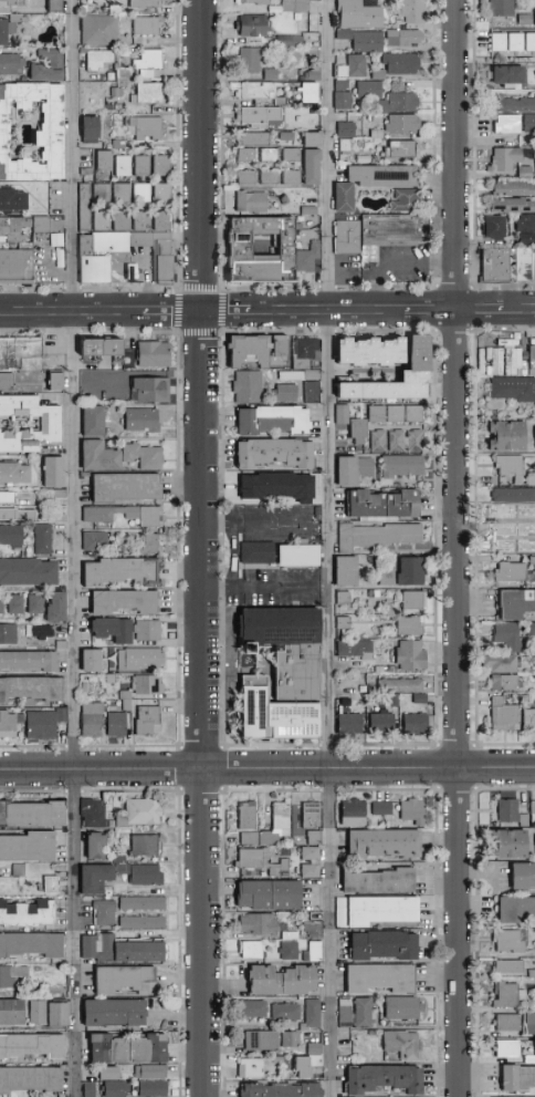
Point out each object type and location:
building: (253, 1)
building: (13, 3)
building: (147, 3)
building: (293, 6)
building: (57, 7)
building: (499, 7)
building: (117, 10)
building: (410, 10)
building: (534, 12)
building: (356, 13)
building: (20, 19)
building: (248, 24)
building: (149, 27)
building: (102, 31)
building: (7, 32)
building: (400, 37)
building: (287, 40)
building: (365, 40)
building: (511, 40)
building: (125, 53)
building: (246, 59)
building: (150, 60)
building: (99, 61)
building: (399, 61)
building: (349, 64)
building: (12, 65)
building: (39, 68)
building: (504, 73)
building: (126, 74)
building: (150, 74)
building: (339, 84)
building: (252, 89)
building: (304, 91)
building: (118, 93)
building: (400, 94)
building: (149, 95)
building: (340, 99)
building: (513, 103)
building: (254, 114)
building: (400, 122)
building: (528, 122)
building: (505, 123)
building: (149, 128)
building: (343, 128)
building: (93, 132)
building: (252, 137)
building: (307, 137)
building: (51, 139)
building: (120, 145)
building: (399, 147)
building: (287, 153)
building: (243, 154)
building: (265, 154)
building: (504, 157)
building: (106, 163)
building: (307, 165)
building: (125, 167)
building: (144, 167)
building: (164, 167)
building: (523, 169)
building: (88, 173)
building: (379, 174)
building: (287, 175)
building: (243, 176)
building: (265, 176)
building: (510, 187)
building: (144, 194)
building: (104, 195)
building: (124, 195)
building: (165, 195)
building: (339, 195)
building: (402, 198)
building: (248, 200)
building: (13, 203)
building: (507, 204)
building: (87, 208)
building: (165, 221)
building: (124, 222)
building: (144, 222)
building: (104, 224)
building: (59, 225)
building: (43, 226)
building: (490, 226)
building: (525, 227)
building: (14, 229)
building: (394, 231)
building: (44, 239)
building: (347, 239)
building: (59, 241)
building: (2, 248)
building: (306, 257)
building: (62, 258)
building: (126, 259)
building: (263, 260)
road: (392, 265)
building: (18, 267)
parking lot: (395, 267)
building: (526, 269)
building: (497, 270)
parking lot: (347, 272)
road: (327, 311)
road: (430, 311)
road: (480, 311)
road: (520, 311)
road: (174, 312)
road: (227, 312)
road: (72, 313)
building: (505, 342)
building: (103, 348)
building: (371, 351)
building: (258, 352)
building: (531, 352)
building: (306, 353)
building: (21, 354)
building: (155, 354)
building: (479, 360)
building: (493, 360)
building: (511, 360)
building: (532, 361)
building: (420, 364)
building: (304, 375)
building: (51, 380)
building: (7, 382)
building: (57, 382)
road: (77, 385)
road: (326, 385)
building: (249, 387)
building: (151, 391)
building: (514, 391)
building: (313, 393)
building: (286, 394)
building: (378, 414)
building: (397, 414)
building: (416, 414)
building: (344, 415)
building: (144, 421)
building: (274, 421)
building: (95, 422)
building: (50, 425)
building: (360, 431)
building: (508, 436)
building: (534, 438)
building: (380, 442)
building: (407, 442)
building: (275, 453)
building: (145, 456)
building: (101, 457)
building: (403, 466)
building: (511, 469)
building: (355, 472)
building: (54, 473)
building: (14, 474)
building: (532, 482)
building: (127, 487)
building: (279, 487)
building: (61, 494)
building: (514, 496)
building: (8, 498)
building: (386, 505)
building: (527, 511)
building: (507, 513)
building: (18, 515)
building: (127, 515)
building: (61, 519)
road: (260, 521)
building: (526, 526)
building: (378, 536)
building: (13, 537)
building: (45, 539)
building: (96, 541)
building: (122, 541)
building: (511, 542)
building: (150, 546)
building: (534, 546)
road: (203, 548)
road: (457, 548)
building: (259, 553)
building: (300, 555)
building: (391, 561)
building: (533, 561)
building: (123, 572)
building: (347, 572)
building: (28, 573)
building: (411, 573)
building: (512, 573)
building: (388, 578)
road: (265, 586)
building: (345, 599)
building: (416, 601)
building: (126, 602)
building: (2, 604)
building: (38, 604)
building: (516, 604)
building: (17, 606)
building: (59, 609)
building: (345, 623)
building: (411, 627)
building: (115, 630)
building: (532, 630)
building: (149, 631)
building: (41, 632)
building: (350, 633)
building: (11, 637)
building: (510, 638)
building: (63, 642)
building: (50, 646)
building: (287, 649)
building: (357, 650)
building: (412, 658)
building: (93, 661)
building: (140, 661)
building: (30, 662)
building: (503, 664)
building: (506, 683)
building: (149, 685)
building: (401, 686)
building: (32, 690)
building: (347, 700)
building: (396, 700)
building: (422, 700)
building: (127, 701)
building: (275, 715)
building: (505, 716)
building: (93, 721)
building: (529, 721)
building: (149, 722)
building: (10, 724)
building: (46, 724)
building: (384, 724)
building: (118, 725)
building: (352, 725)
building: (418, 725)
road: (267, 770)
building: (378, 807)
building: (140, 810)
building: (410, 810)
building: (90, 811)
building: (350, 811)
building: (29, 813)
building: (308, 814)
building: (244, 815)
building: (277, 816)
building: (312, 836)
building: (380, 842)
building: (505, 844)
building: (91, 845)
building: (143, 845)
building: (25, 846)
building: (534, 847)
building: (307, 851)
building: (250, 857)
building: (277, 868)
building: (15, 869)
building: (307, 870)
building: (143, 873)
building: (521, 875)
building: (91, 878)
building: (374, 880)
building: (46, 883)
building: (8, 884)
building: (263, 894)
building: (139, 902)
building: (514, 909)
building: (370, 910)
building: (25, 912)
building: (103, 912)
building: (139, 921)
building: (254, 922)
road: (331, 933)
road: (77, 934)
building: (505, 940)
building: (29, 944)
building: (379, 944)
building: (249, 949)
building: (286, 949)
building: (116, 950)
building: (506, 966)
building: (529, 973)
building: (10, 974)
building: (376, 977)
building: (122, 979)
building: (277, 980)
building: (507, 994)
building: (251, 1007)
building: (399, 1007)
building: (284, 1011)
building: (9, 1012)
building: (45, 1012)
building: (109, 1012)
building: (311, 1012)
building: (360, 1012)
building: (342, 1013)
building: (505, 1022)
building: (269, 1038)
building: (30, 1045)
building: (399, 1045)
building: (504, 1047)
building: (123, 1048)
building: (300, 1066)
building: (249, 1067)
building: (147, 1070)
building: (104, 1073)
building: (515, 1077)
building: (29, 1078)
building: (379, 1078)
building: (86, 1088)
building: (112, 1088)
building: (149, 1088)
building: (276, 1089)

